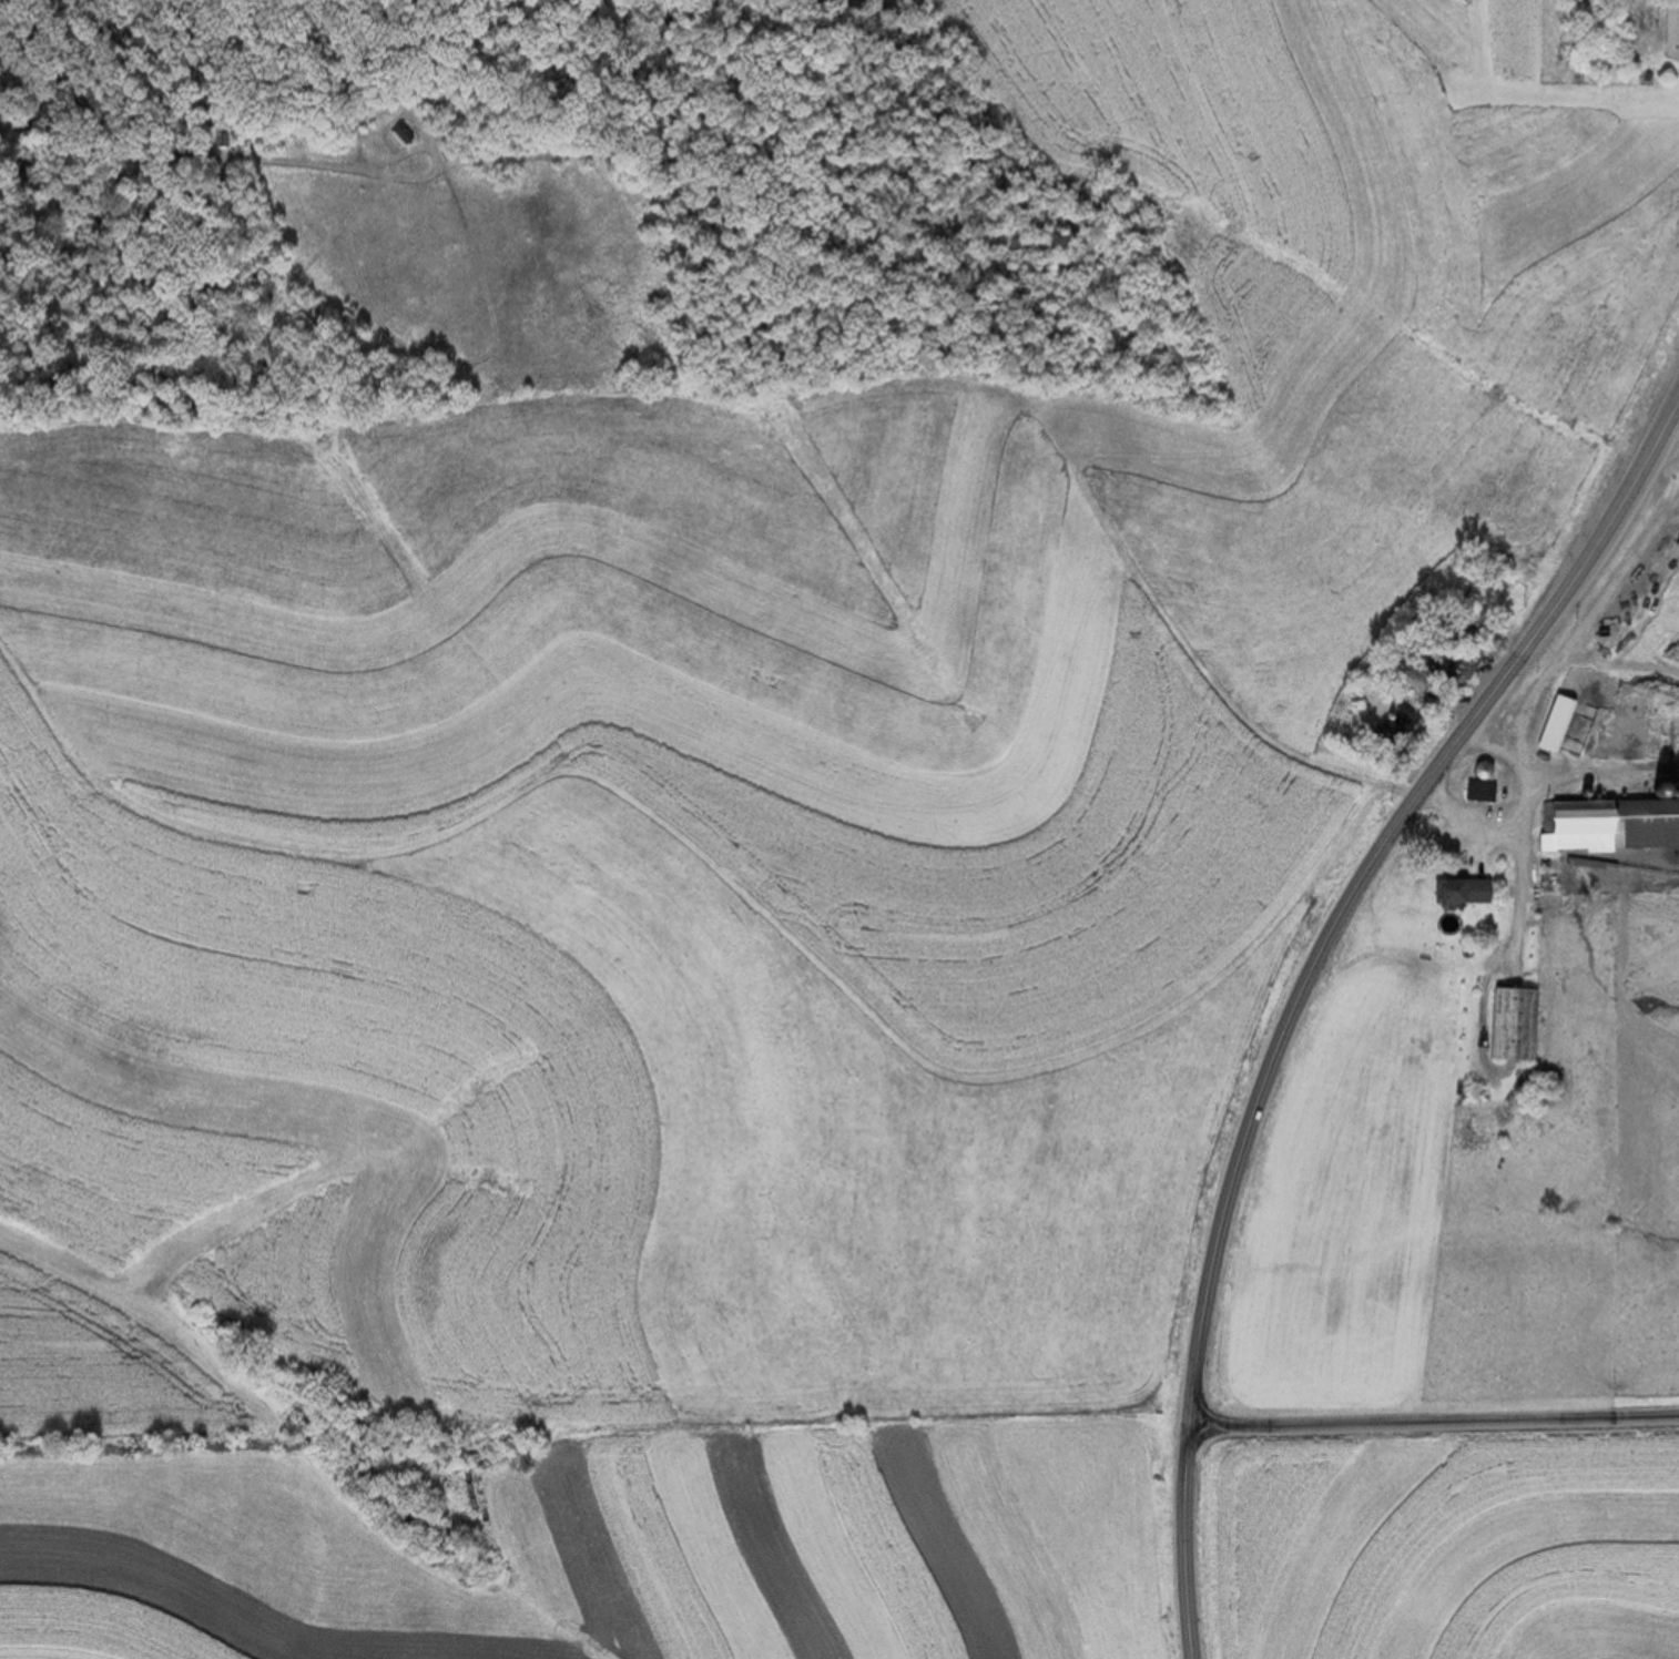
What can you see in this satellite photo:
building: (1670, 31)
building: (397, 135)
building: (223, 141)
building: (1458, 672)
building: (1392, 726)
building: (1553, 726)
building: (1477, 793)
building: (1614, 824)
building: (1457, 893)
road: (1305, 981)
building: (1508, 1026)
road: (1434, 1419)

